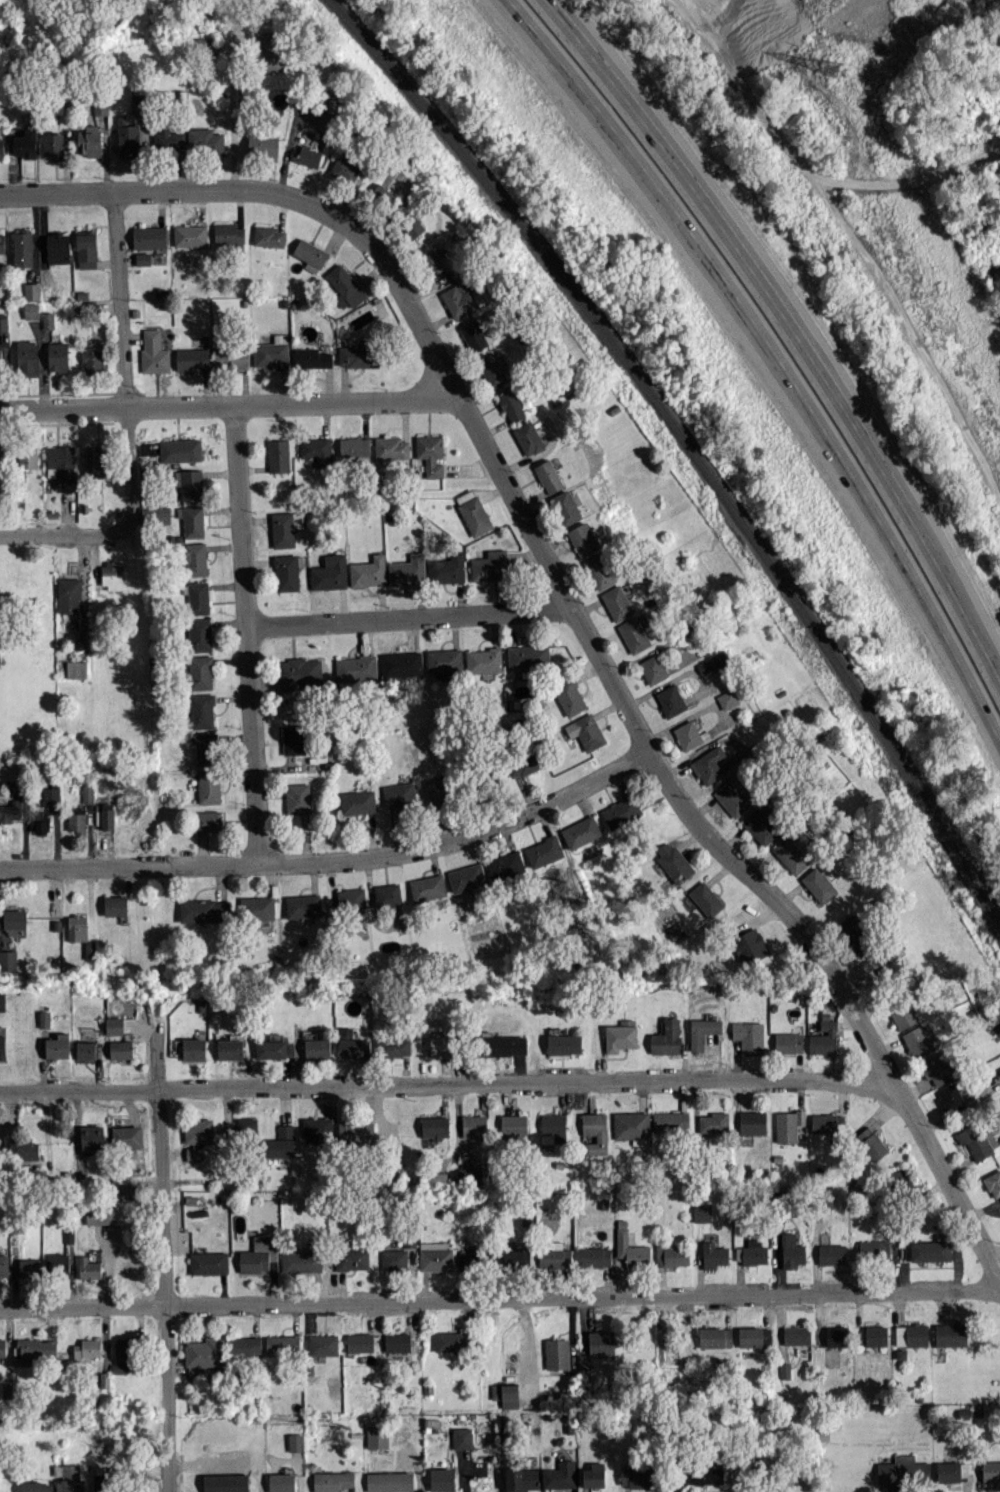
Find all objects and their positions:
quarry: (753, 31)
building: (206, 46)
building: (271, 50)
road: (600, 69)
power tower: (829, 70)
road: (569, 78)
building: (100, 107)
building: (325, 120)
building: (128, 139)
building: (89, 140)
building: (168, 140)
building: (204, 140)
building: (25, 144)
building: (262, 144)
building: (53, 145)
building: (1, 148)
building: (307, 155)
building: (345, 169)
building: (382, 194)
building: (412, 225)
building: (229, 233)
building: (190, 235)
building: (269, 236)
building: (149, 237)
building: (2, 242)
building: (22, 247)
building: (57, 247)
building: (86, 249)
building: (310, 254)
building: (142, 258)
building: (433, 262)
building: (345, 286)
building: (31, 291)
building: (458, 298)
building: (31, 310)
building: (48, 319)
building: (3, 322)
building: (475, 335)
building: (153, 351)
building: (272, 353)
building: (357, 355)
building: (0, 356)
building: (57, 356)
road: (124, 357)
building: (231, 357)
building: (312, 357)
building: (27, 358)
building: (93, 358)
building: (192, 359)
building: (494, 368)
road: (229, 404)
building: (511, 405)
road: (837, 406)
building: (528, 437)
road: (830, 439)
building: (354, 446)
railway: (689, 446)
building: (391, 447)
building: (316, 449)
building: (180, 450)
building: (431, 454)
building: (278, 455)
building: (1, 457)
building: (27, 458)
building: (97, 461)
building: (60, 463)
building: (548, 476)
building: (189, 483)
building: (565, 507)
building: (473, 512)
building: (157, 514)
building: (192, 520)
building: (285, 527)
road: (63, 533)
building: (583, 539)
building: (196, 558)
building: (489, 565)
building: (447, 568)
building: (408, 570)
building: (368, 571)
building: (600, 571)
building: (287, 572)
building: (330, 572)
building: (111, 575)
building: (69, 595)
building: (197, 596)
building: (617, 602)
road: (574, 608)
road: (410, 617)
road: (249, 633)
building: (199, 634)
building: (634, 634)
building: (528, 656)
building: (444, 660)
building: (484, 660)
building: (712, 662)
building: (401, 663)
building: (76, 668)
building: (355, 668)
building: (652, 668)
building: (200, 672)
building: (300, 673)
building: (569, 696)
building: (727, 698)
building: (670, 700)
building: (202, 710)
building: (288, 711)
building: (586, 731)
building: (688, 734)
building: (293, 739)
building: (205, 748)
building: (523, 764)
building: (709, 765)
building: (208, 786)
building: (437, 787)
building: (87, 793)
building: (52, 794)
building: (399, 795)
building: (298, 797)
building: (732, 798)
building: (357, 801)
building: (12, 810)
building: (621, 812)
building: (107, 816)
building: (207, 820)
building: (39, 821)
building: (76, 822)
building: (760, 825)
building: (581, 831)
building: (544, 851)
building: (790, 855)
road: (336, 859)
building: (673, 861)
building: (505, 864)
building: (466, 877)
building: (818, 884)
building: (428, 887)
building: (387, 895)
building: (351, 898)
building: (706, 898)
building: (115, 905)
building: (303, 905)
building: (257, 907)
building: (204, 910)
building: (15, 918)
building: (77, 927)
building: (854, 933)
building: (749, 945)
building: (90, 949)
building: (8, 959)
building: (2, 1001)
building: (903, 1013)
building: (44, 1018)
building: (114, 1025)
building: (702, 1031)
building: (620, 1035)
building: (748, 1036)
building: (666, 1037)
building: (823, 1038)
building: (920, 1039)
building: (788, 1042)
building: (2, 1043)
building: (564, 1043)
building: (353, 1044)
building: (441, 1044)
building: (58, 1045)
building: (503, 1045)
building: (396, 1047)
building: (194, 1048)
building: (317, 1048)
building: (86, 1049)
building: (121, 1049)
building: (230, 1049)
building: (271, 1049)
building: (936, 1068)
building: (999, 1068)
road: (449, 1083)
building: (949, 1097)
building: (670, 1121)
building: (713, 1122)
building: (752, 1122)
building: (826, 1123)
building: (474, 1125)
building: (513, 1125)
building: (788, 1125)
building: (247, 1126)
building: (434, 1126)
building: (553, 1126)
building: (631, 1126)
building: (317, 1127)
building: (199, 1131)
building: (356, 1131)
building: (594, 1132)
building: (127, 1136)
building: (92, 1139)
building: (978, 1140)
building: (280, 1142)
building: (871, 1142)
building: (23, 1149)
building: (469, 1176)
building: (436, 1179)
building: (993, 1183)
building: (120, 1184)
building: (826, 1197)
building: (701, 1212)
building: (100, 1214)
building: (630, 1246)
building: (873, 1249)
building: (930, 1250)
building: (791, 1251)
building: (751, 1252)
building: (831, 1253)
building: (258, 1254)
building: (671, 1254)
building: (435, 1255)
building: (713, 1255)
building: (515, 1256)
building: (555, 1256)
building: (594, 1256)
road: (168, 1257)
building: (473, 1257)
building: (351, 1258)
building: (301, 1259)
building: (393, 1259)
building: (57, 1261)
building: (208, 1262)
building: (4, 1266)
building: (29, 1267)
building: (89, 1268)
road: (500, 1299)
building: (796, 1334)
building: (950, 1334)
building: (836, 1335)
building: (875, 1335)
building: (911, 1335)
building: (715, 1336)
building: (754, 1336)
building: (451, 1341)
building: (601, 1341)
building: (360, 1342)
building: (397, 1342)
building: (323, 1344)
building: (282, 1345)
building: (2, 1346)
building: (244, 1346)
building: (35, 1347)
building: (87, 1348)
building: (557, 1353)
building: (203, 1354)
building: (121, 1356)
building: (583, 1361)
building: (784, 1370)
building: (7, 1389)
building: (506, 1394)
building: (377, 1435)
building: (462, 1438)
building: (296, 1442)
building: (903, 1469)
building: (952, 1470)
building: (991, 1470)
building: (707, 1472)
building: (560, 1475)
building: (594, 1475)
building: (637, 1476)
building: (67, 1479)
building: (442, 1479)
building: (522, 1479)
building: (333, 1480)
building: (134, 1481)
building: (389, 1481)
building: (226, 1482)
building: (282, 1482)
building: (37, 1486)

